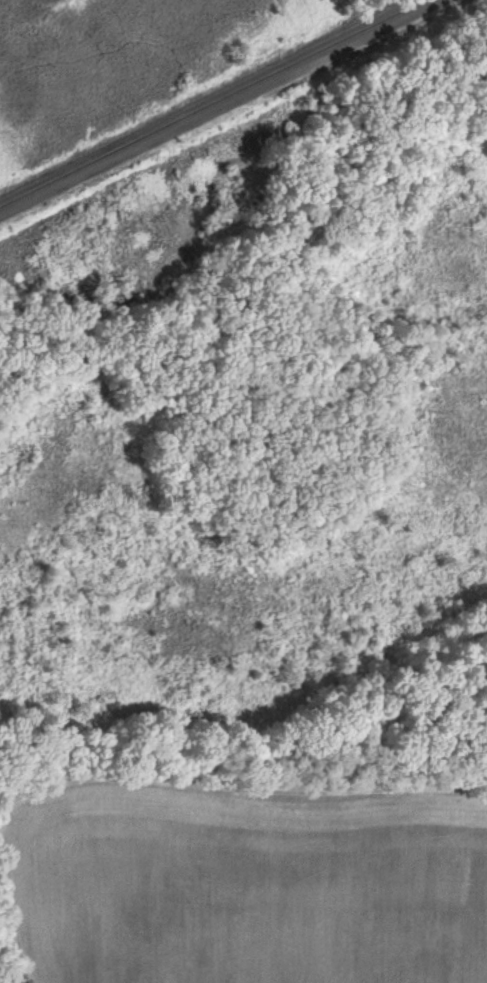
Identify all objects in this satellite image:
railway: (213, 104)

